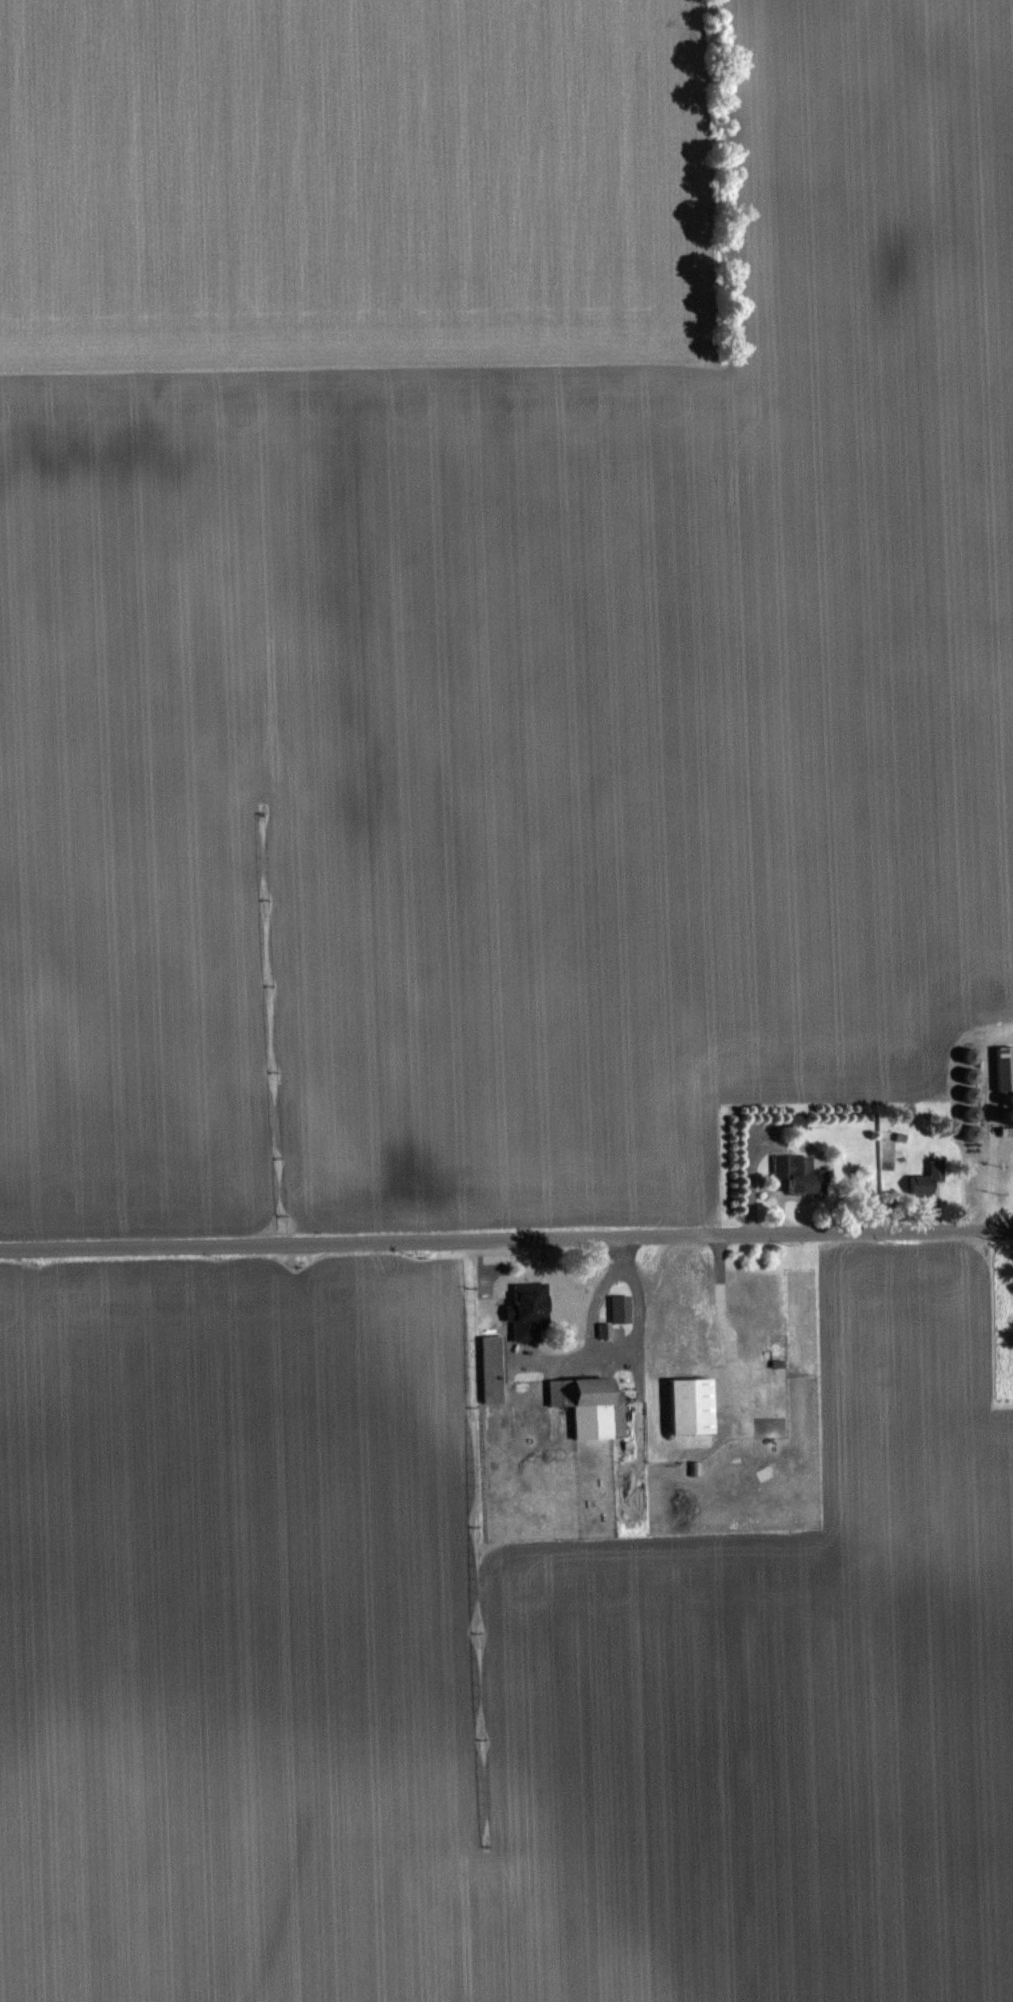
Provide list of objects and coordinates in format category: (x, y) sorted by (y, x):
building: (1004, 1081)
building: (794, 1175)
building: (923, 1179)
road: (506, 1239)
building: (614, 1313)
building: (489, 1369)
building: (588, 1405)
building: (687, 1405)

